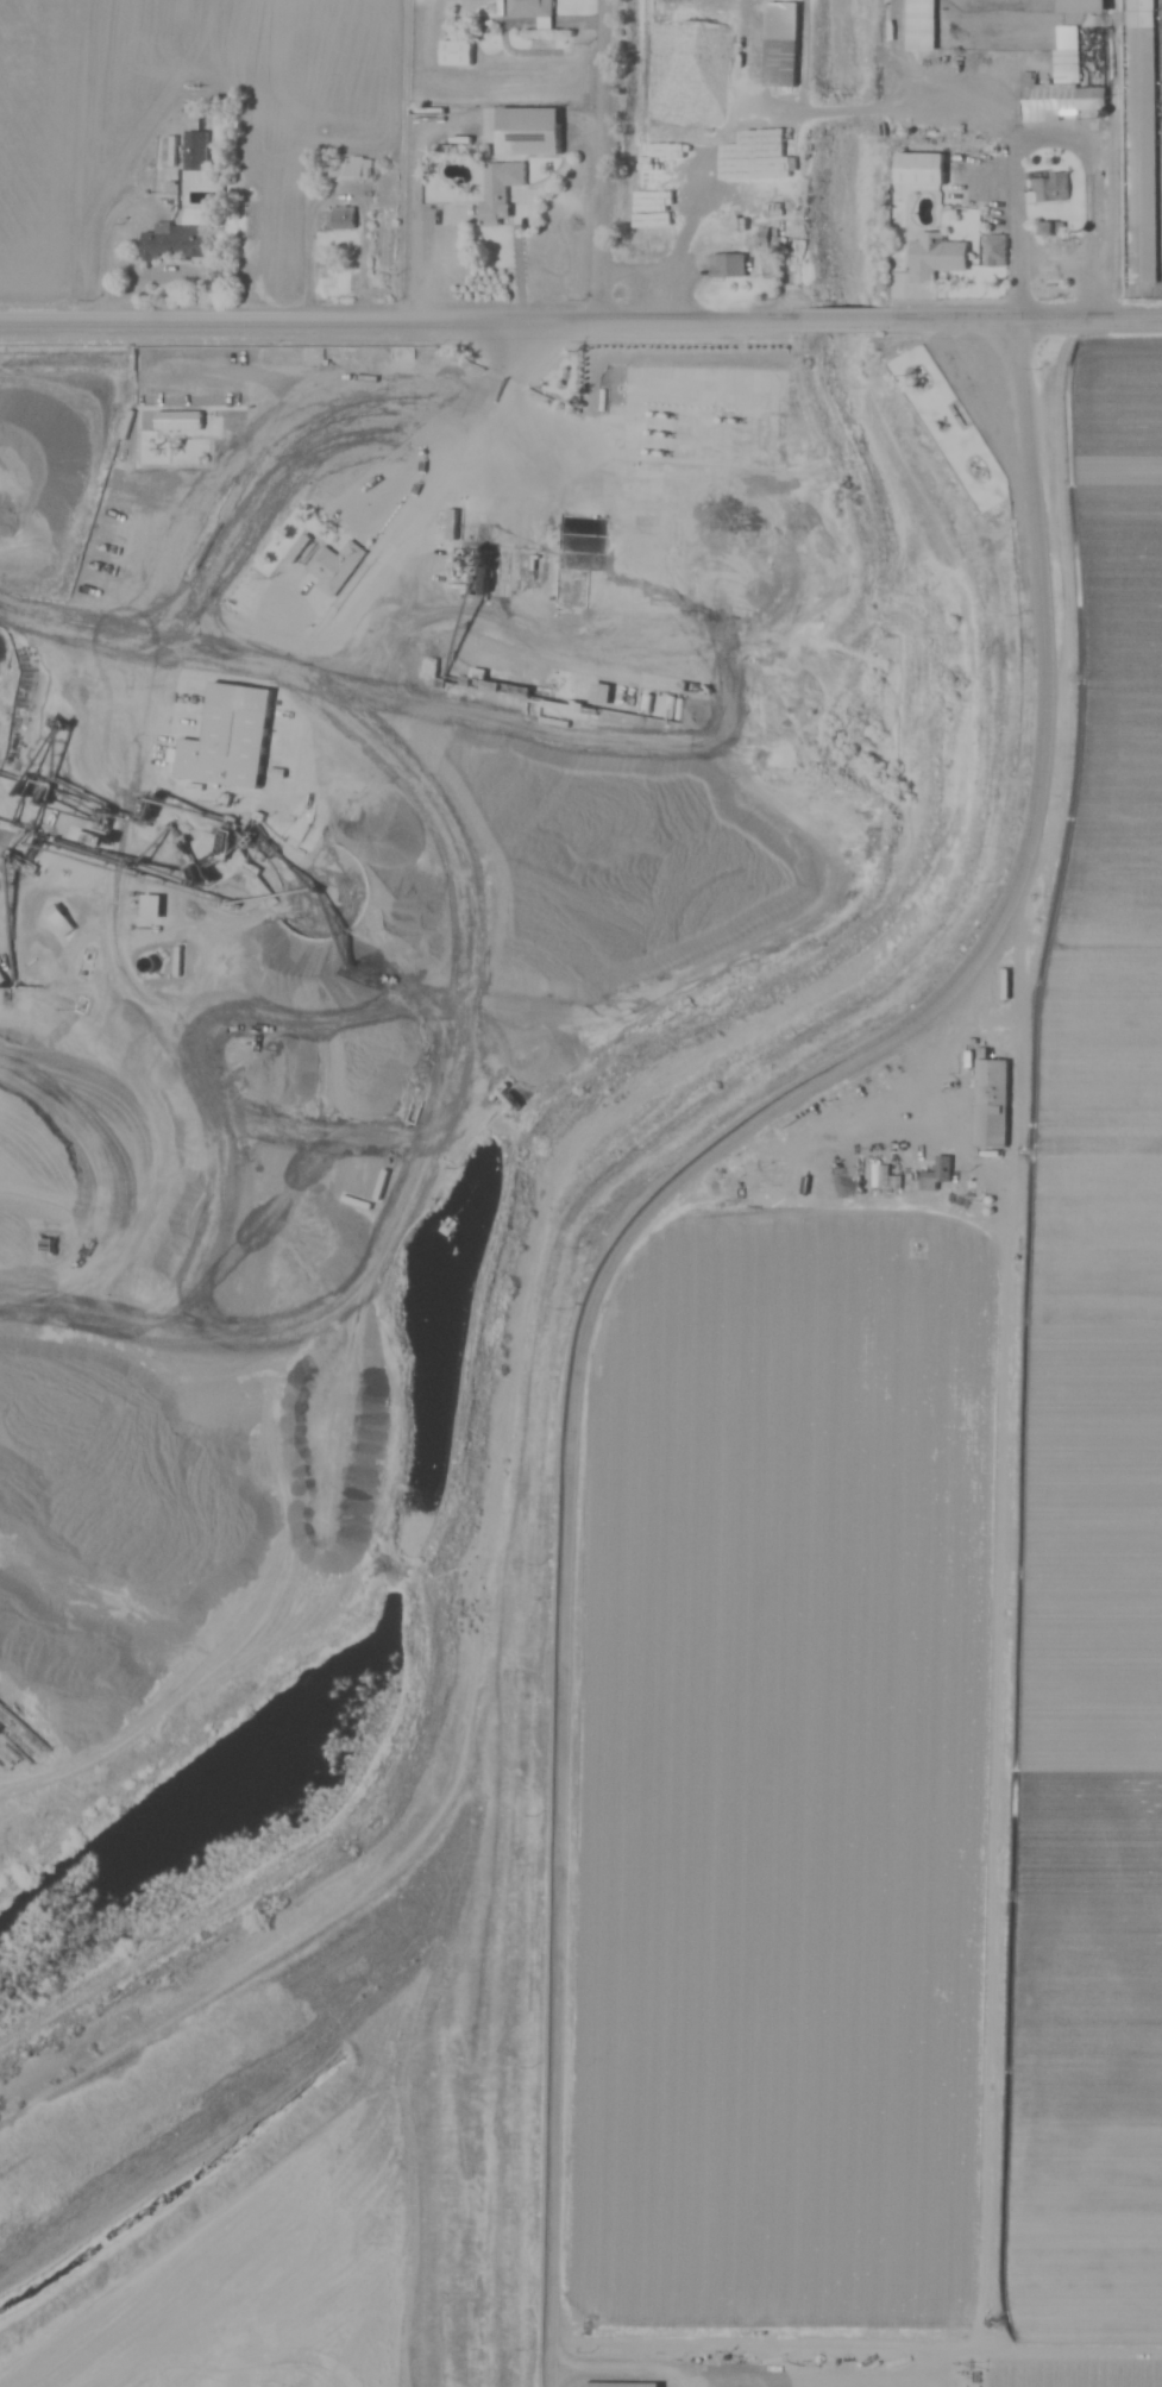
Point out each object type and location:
building: (1079, 7)
building: (526, 8)
building: (916, 25)
building: (779, 44)
building: (454, 54)
road: (872, 100)
building: (1053, 100)
building: (529, 132)
building: (1141, 142)
crop: (51, 145)
building: (193, 151)
road: (413, 162)
road: (614, 162)
building: (915, 170)
building: (1048, 188)
building: (495, 190)
building: (341, 218)
building: (172, 241)
building: (995, 251)
building: (934, 258)
building: (724, 266)
road: (846, 322)
road: (1023, 322)
road: (402, 323)
building: (177, 421)
building: (334, 566)
building: (599, 693)
building: (226, 737)
building: (149, 907)
building: (59, 919)
building: (1003, 984)
building: (990, 1103)
building: (936, 1174)
building: (377, 1186)
road: (620, 1261)
crop: (871, 1632)
road: (268, 2023)
road: (626, 2357)

